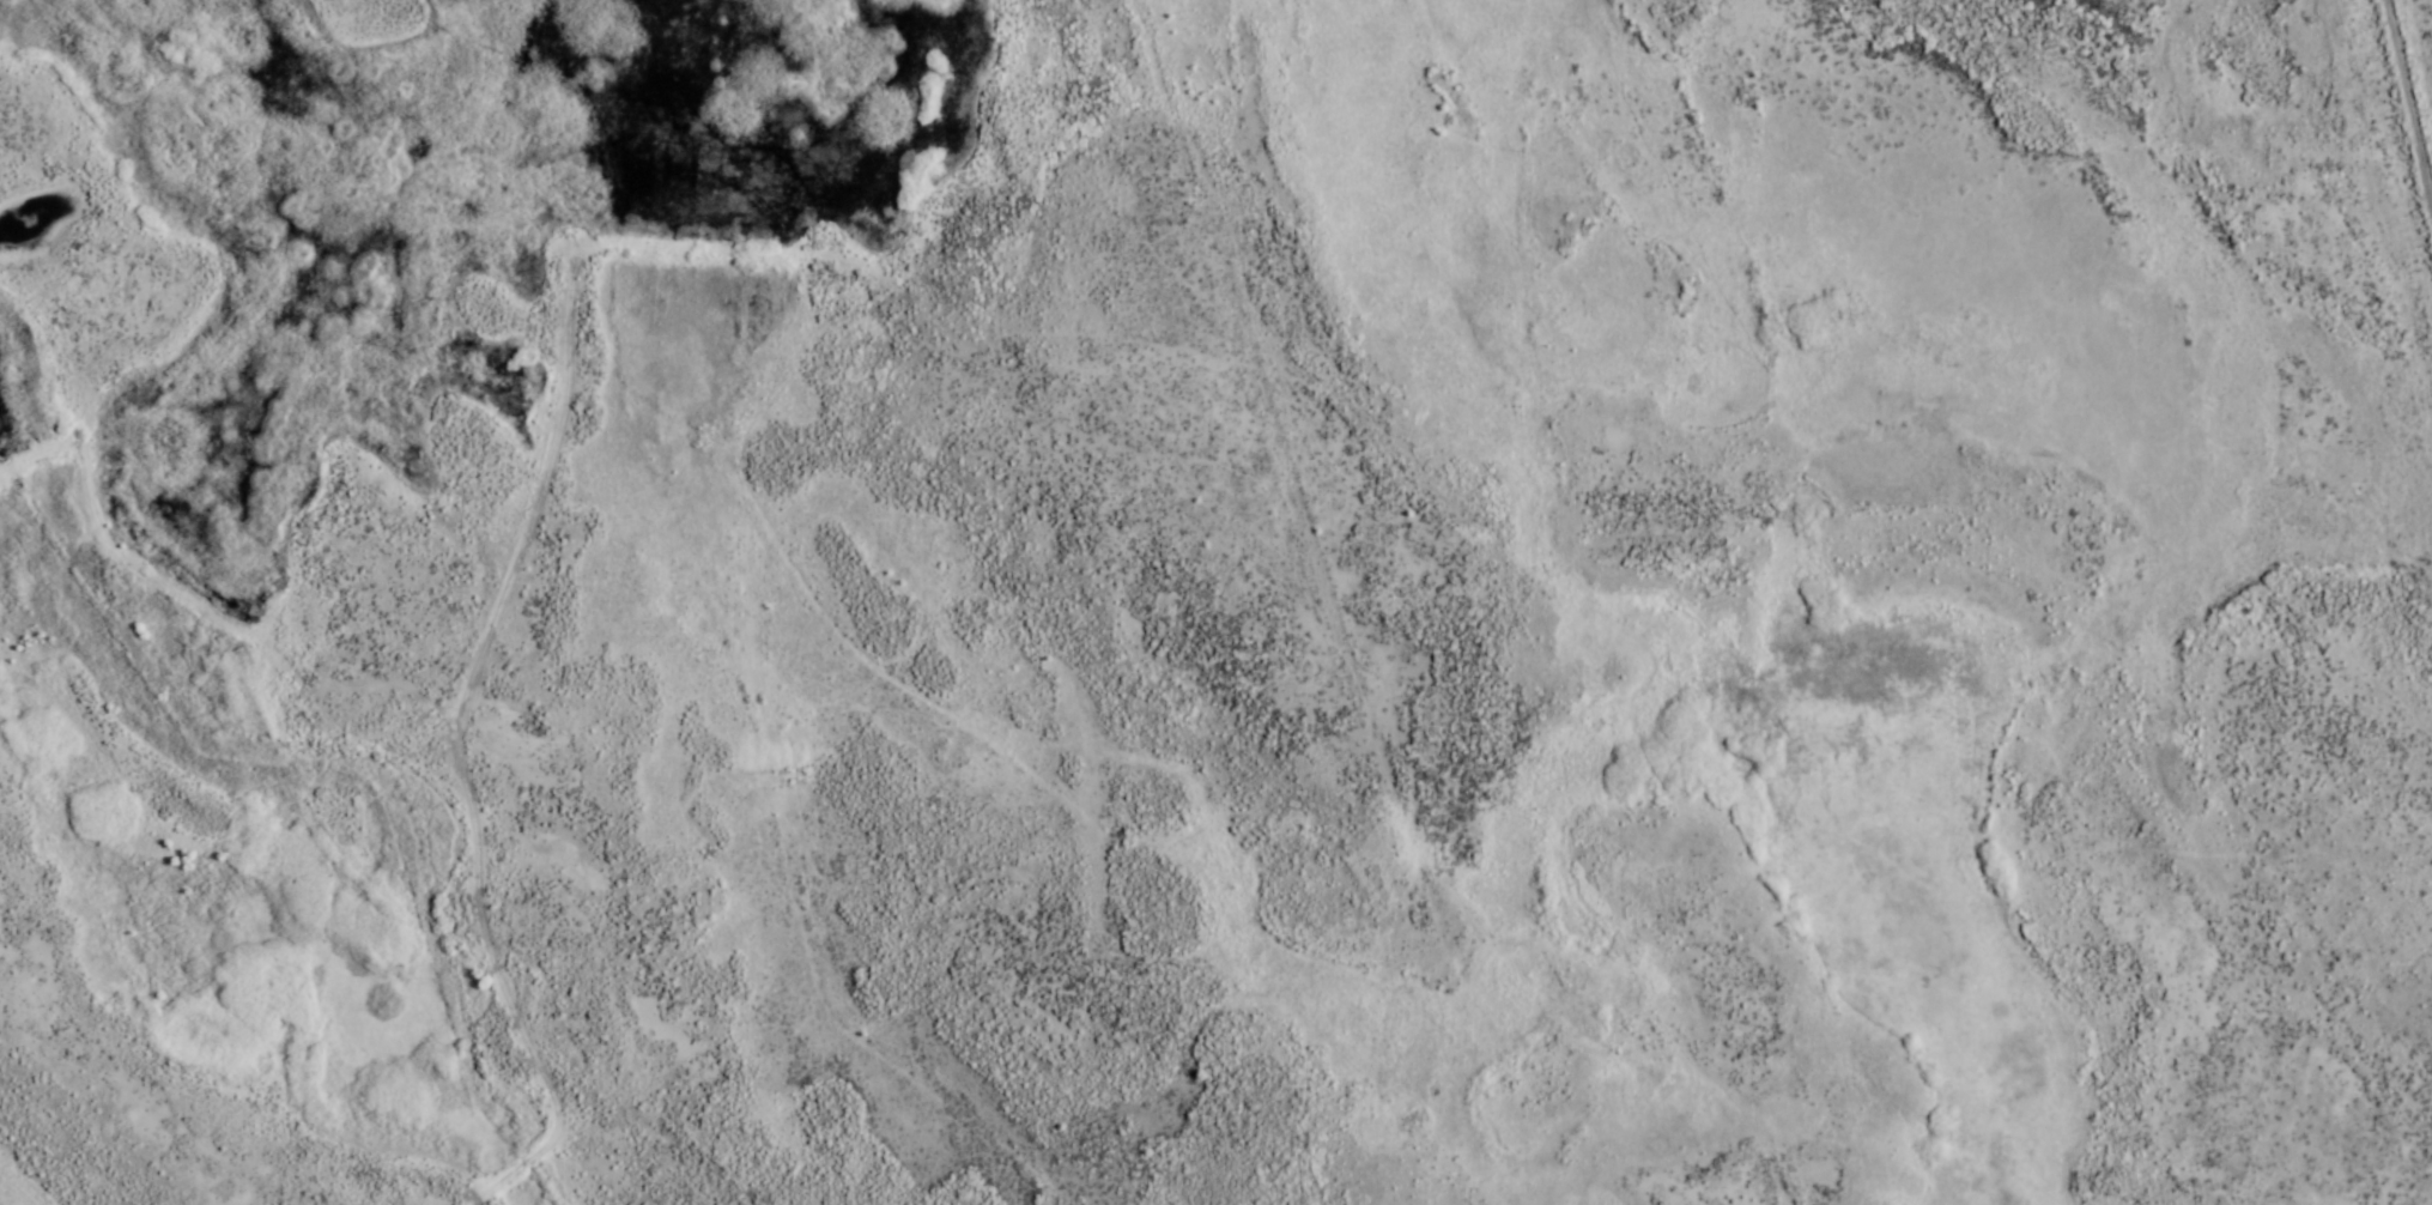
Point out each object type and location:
road: (2401, 140)
road: (456, 837)

